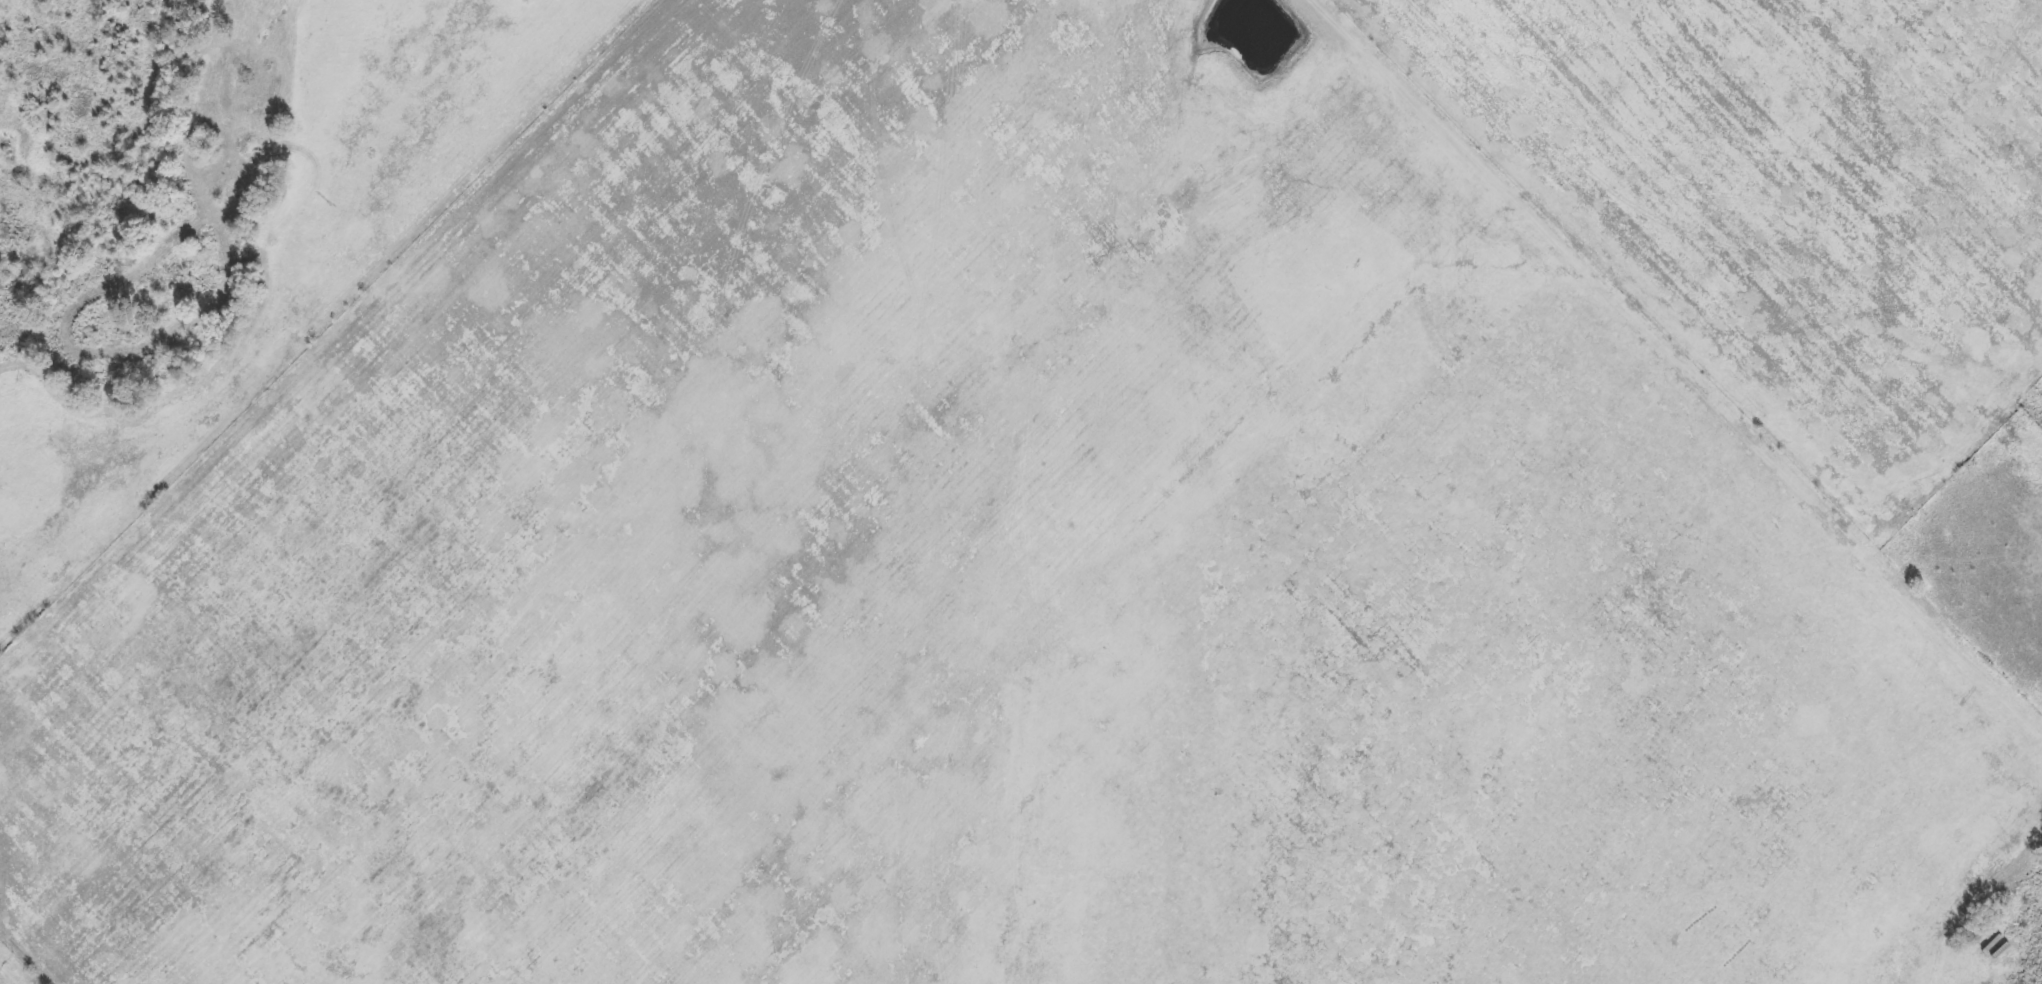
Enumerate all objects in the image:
building: (1993, 944)

